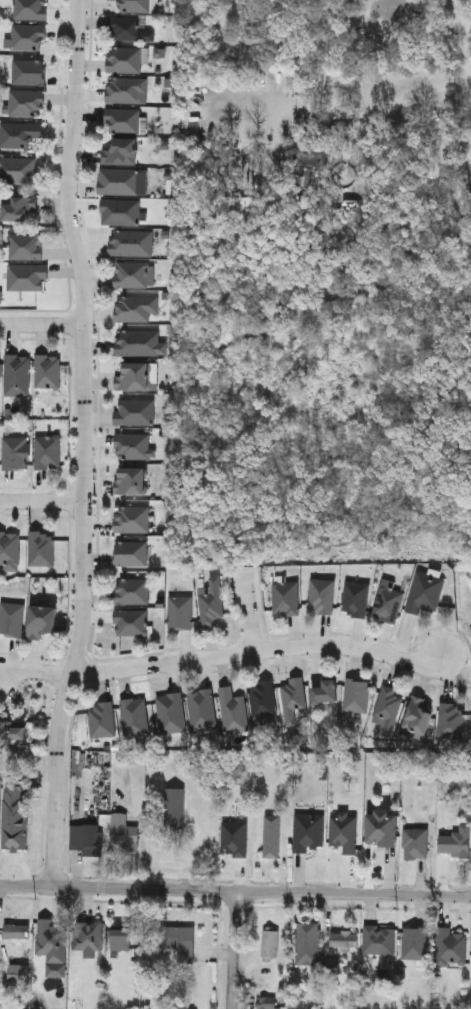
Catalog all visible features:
building: (136, 6)
building: (30, 9)
building: (128, 29)
building: (28, 37)
road: (464, 41)
building: (125, 60)
building: (29, 71)
building: (126, 89)
building: (26, 102)
building: (123, 121)
building: (19, 134)
building: (121, 152)
building: (18, 170)
building: (123, 182)
building: (20, 208)
building: (121, 212)
building: (127, 242)
building: (27, 246)
building: (134, 274)
building: (28, 277)
building: (132, 308)
road: (42, 326)
building: (138, 342)
building: (48, 371)
building: (0, 372)
building: (18, 375)
building: (134, 377)
building: (135, 412)
road: (84, 446)
building: (134, 446)
building: (15, 452)
building: (48, 452)
building: (132, 480)
road: (42, 503)
building: (133, 519)
building: (42, 548)
building: (9, 550)
building: (132, 553)
building: (133, 591)
building: (426, 593)
building: (323, 596)
building: (287, 597)
building: (356, 599)
building: (212, 603)
building: (389, 604)
building: (181, 612)
building: (13, 619)
building: (43, 621)
building: (132, 623)
road: (257, 651)
road: (35, 673)
building: (326, 691)
building: (357, 696)
building: (293, 697)
building: (263, 699)
building: (388, 708)
building: (201, 710)
building: (233, 711)
building: (171, 713)
building: (418, 716)
building: (135, 717)
building: (102, 718)
building: (451, 720)
building: (14, 730)
building: (175, 809)
building: (383, 828)
building: (345, 831)
building: (310, 832)
building: (125, 833)
building: (86, 837)
building: (235, 839)
building: (273, 841)
building: (456, 842)
building: (416, 843)
road: (235, 896)
building: (18, 931)
building: (90, 937)
building: (53, 939)
building: (122, 940)
building: (344, 940)
building: (180, 941)
building: (381, 941)
building: (308, 943)
building: (415, 943)
building: (271, 945)
building: (451, 946)
road: (235, 953)
building: (268, 1003)

